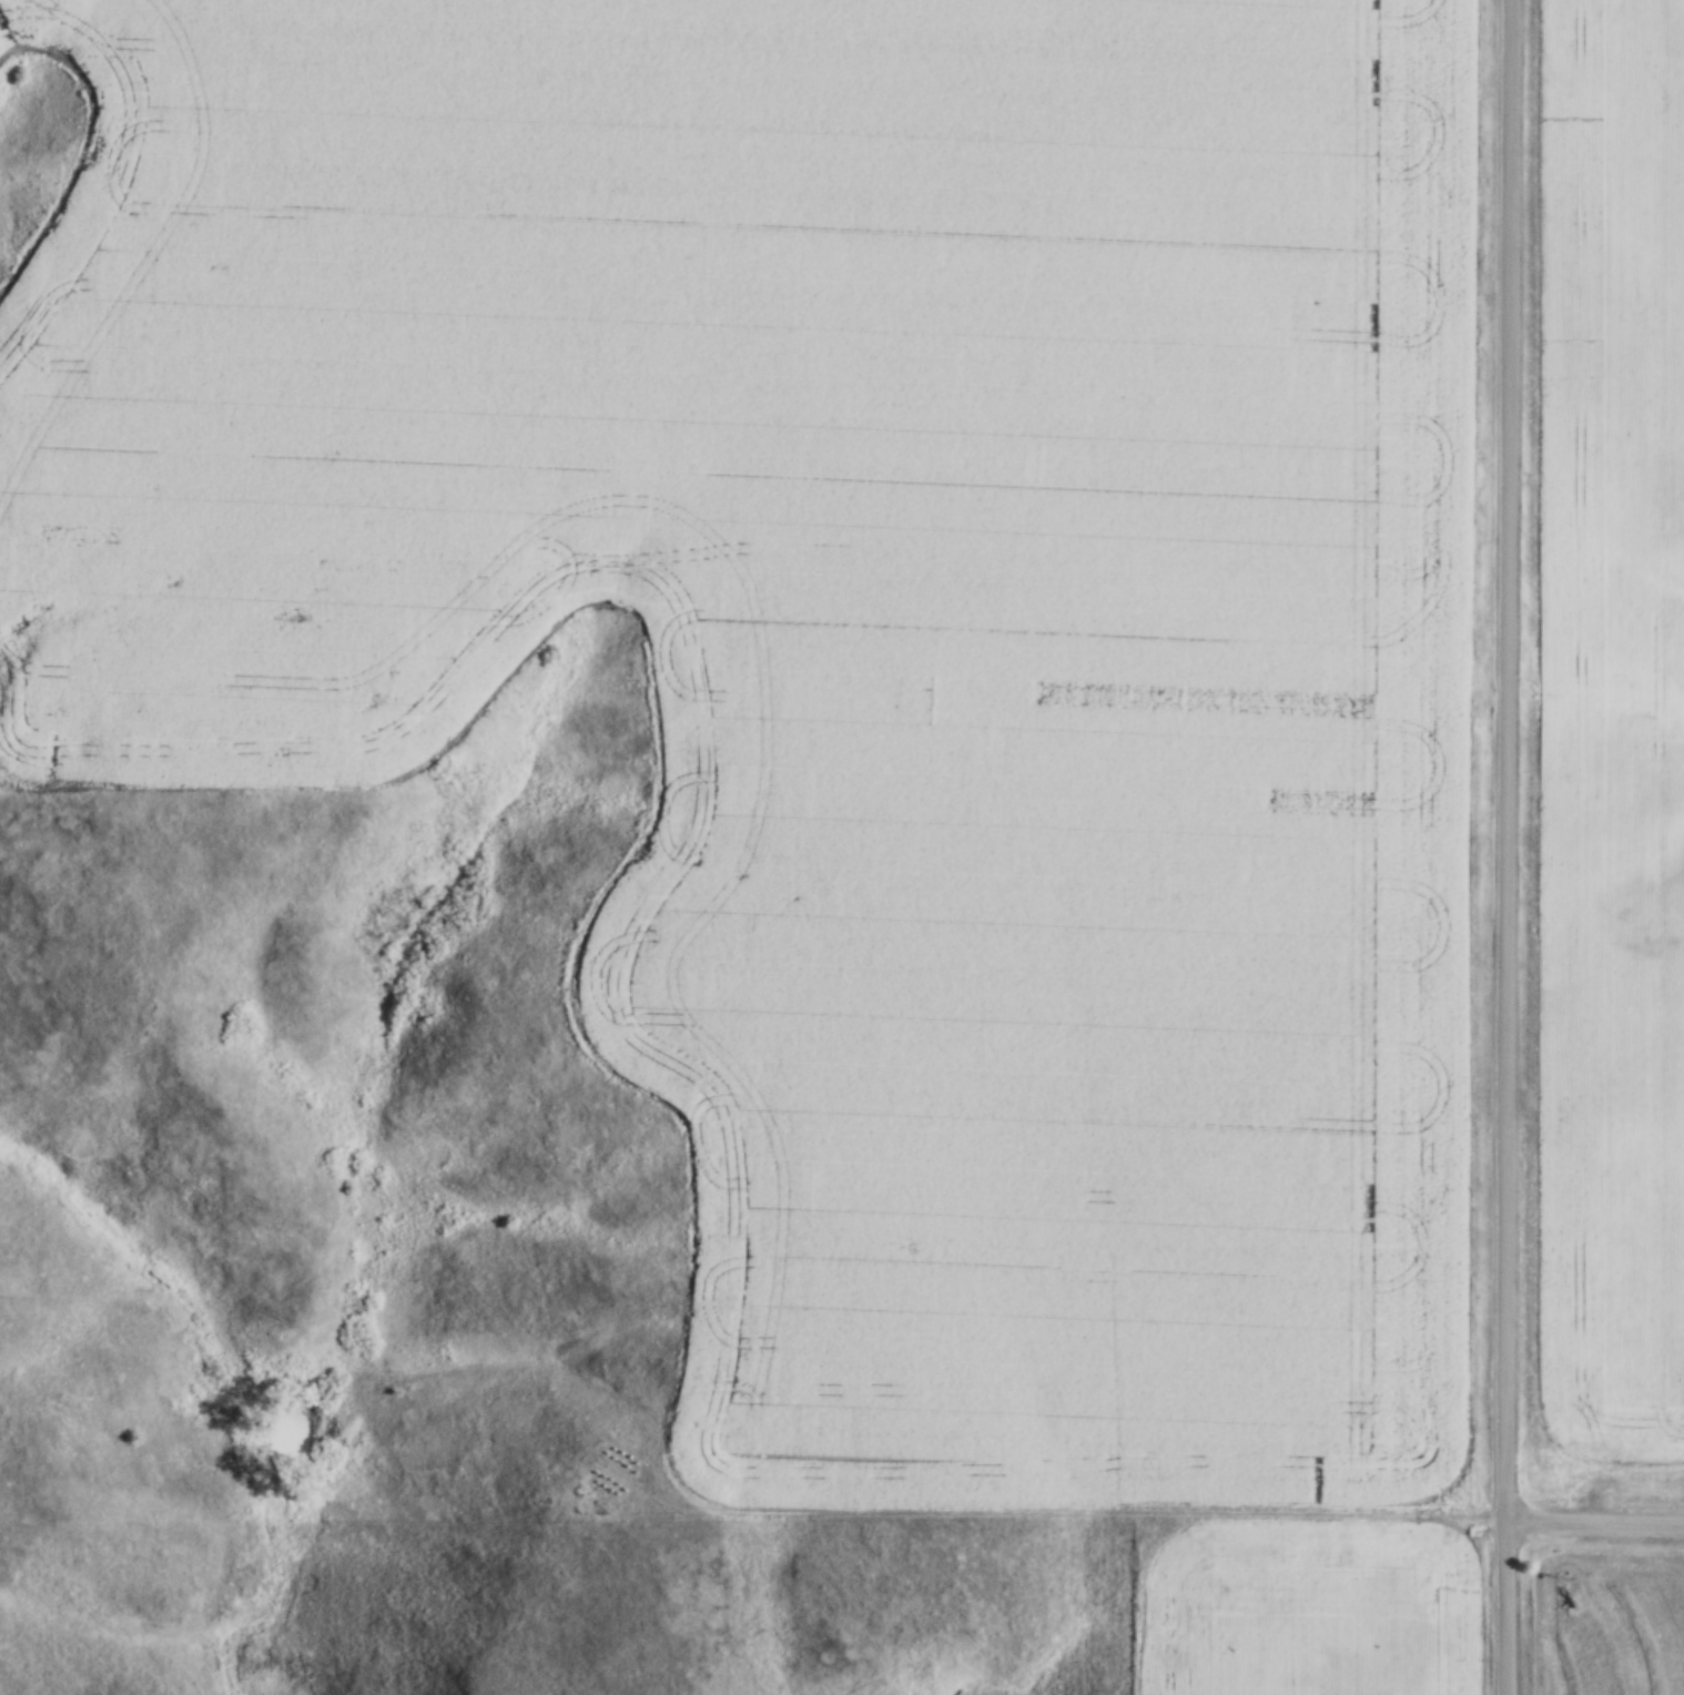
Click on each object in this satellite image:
road: (1507, 847)
road: (1594, 1521)

